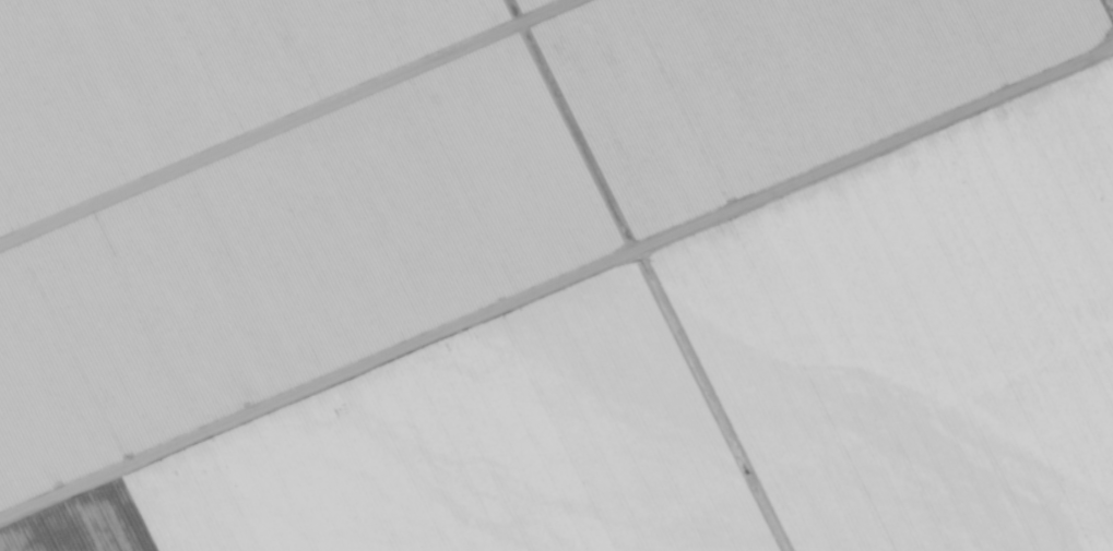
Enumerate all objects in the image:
crop: (396, 171)
crop: (907, 276)
crop: (448, 448)
crop: (974, 477)
crop: (710, 530)

